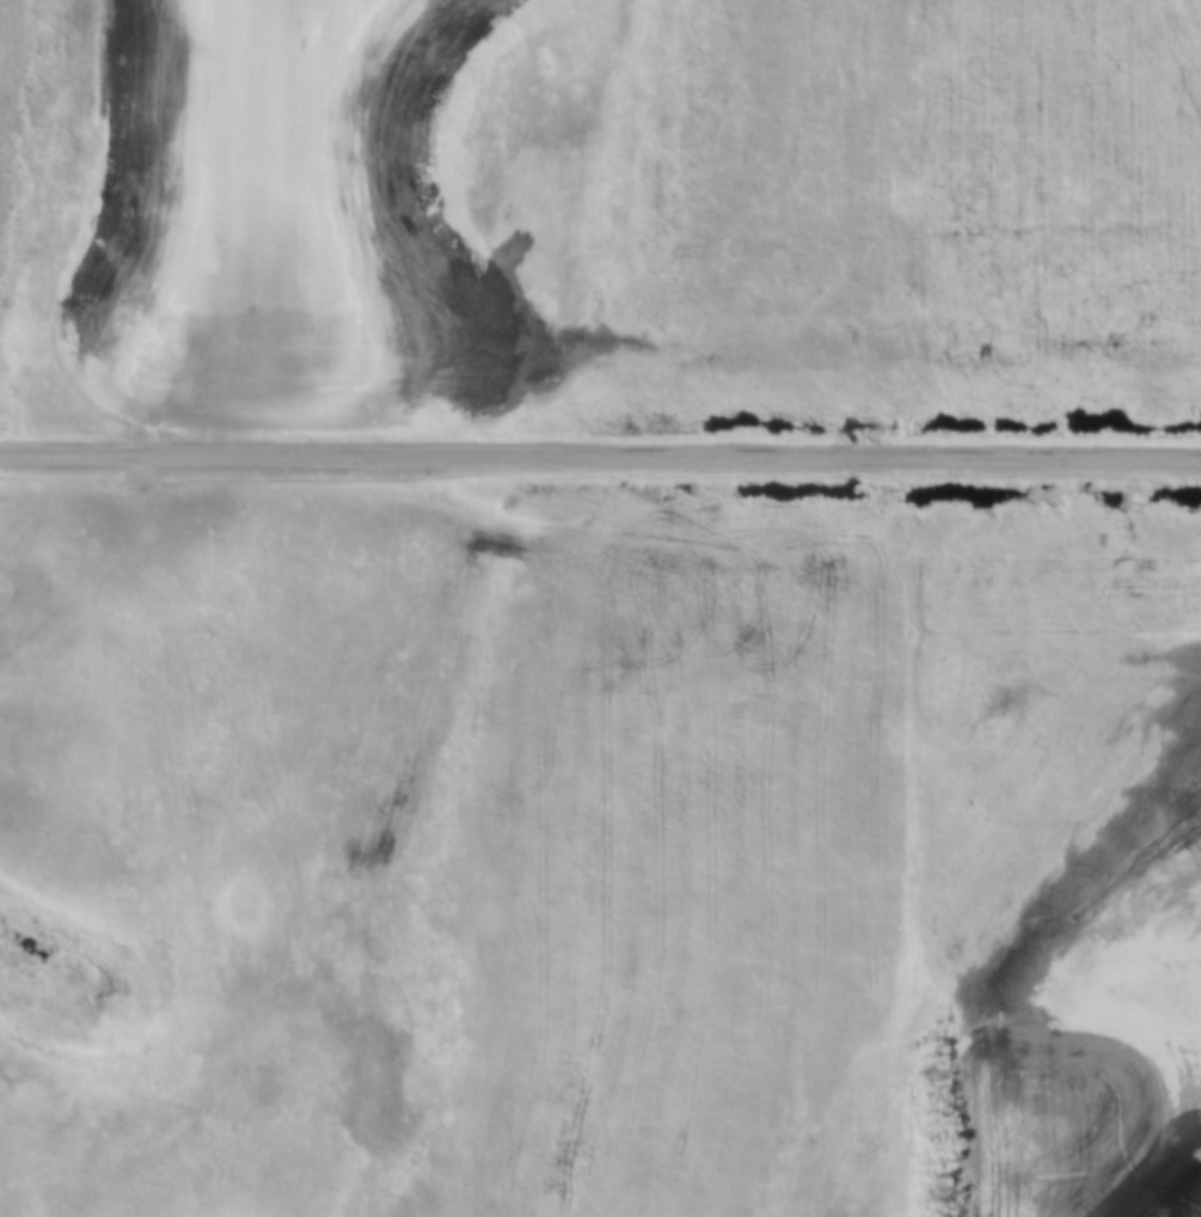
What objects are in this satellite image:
road: (600, 454)

